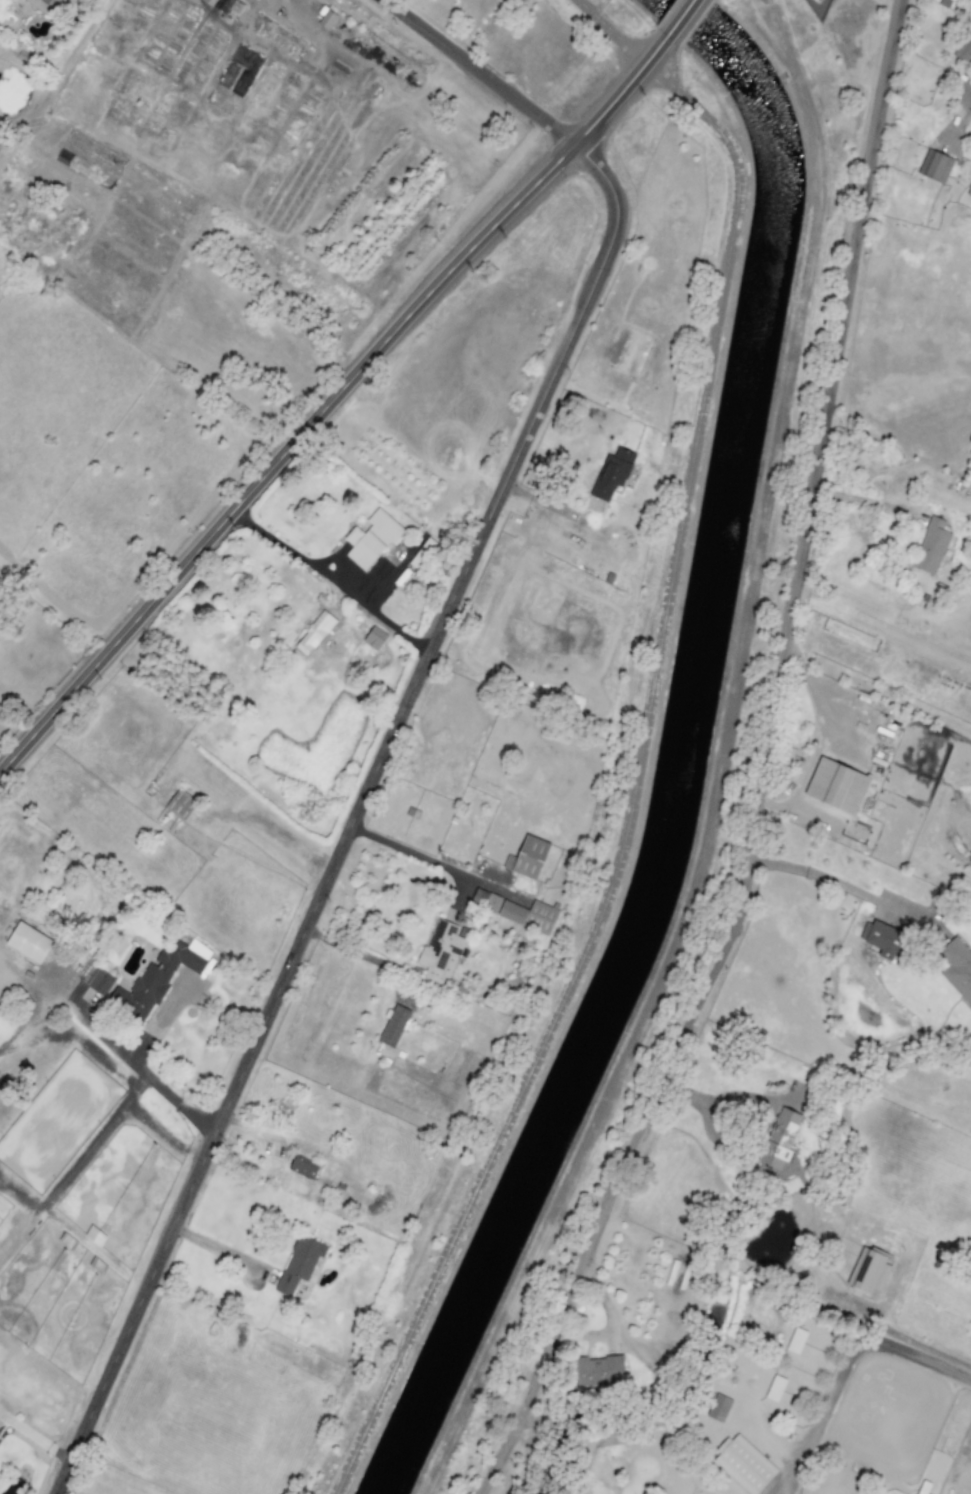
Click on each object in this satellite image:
building: (43, 5)
road: (683, 16)
building: (964, 48)
road: (480, 72)
road: (964, 105)
building: (935, 166)
road: (333, 402)
road: (826, 404)
building: (612, 474)
road: (859, 499)
building: (372, 538)
building: (931, 546)
building: (314, 633)
building: (852, 635)
building: (836, 786)
road: (354, 815)
road: (268, 827)
road: (423, 856)
building: (527, 858)
road: (829, 878)
building: (492, 903)
building: (529, 916)
building: (882, 939)
building: (28, 942)
building: (440, 952)
building: (957, 968)
building: (162, 976)
building: (101, 982)
building: (395, 1026)
road: (81, 1032)
road: (180, 1104)
building: (780, 1138)
road: (627, 1154)
road: (79, 1160)
building: (303, 1167)
road: (221, 1249)
building: (299, 1264)
building: (868, 1272)
building: (796, 1341)
road: (850, 1357)
building: (598, 1371)
building: (775, 1388)
building: (718, 1408)
building: (743, 1464)

